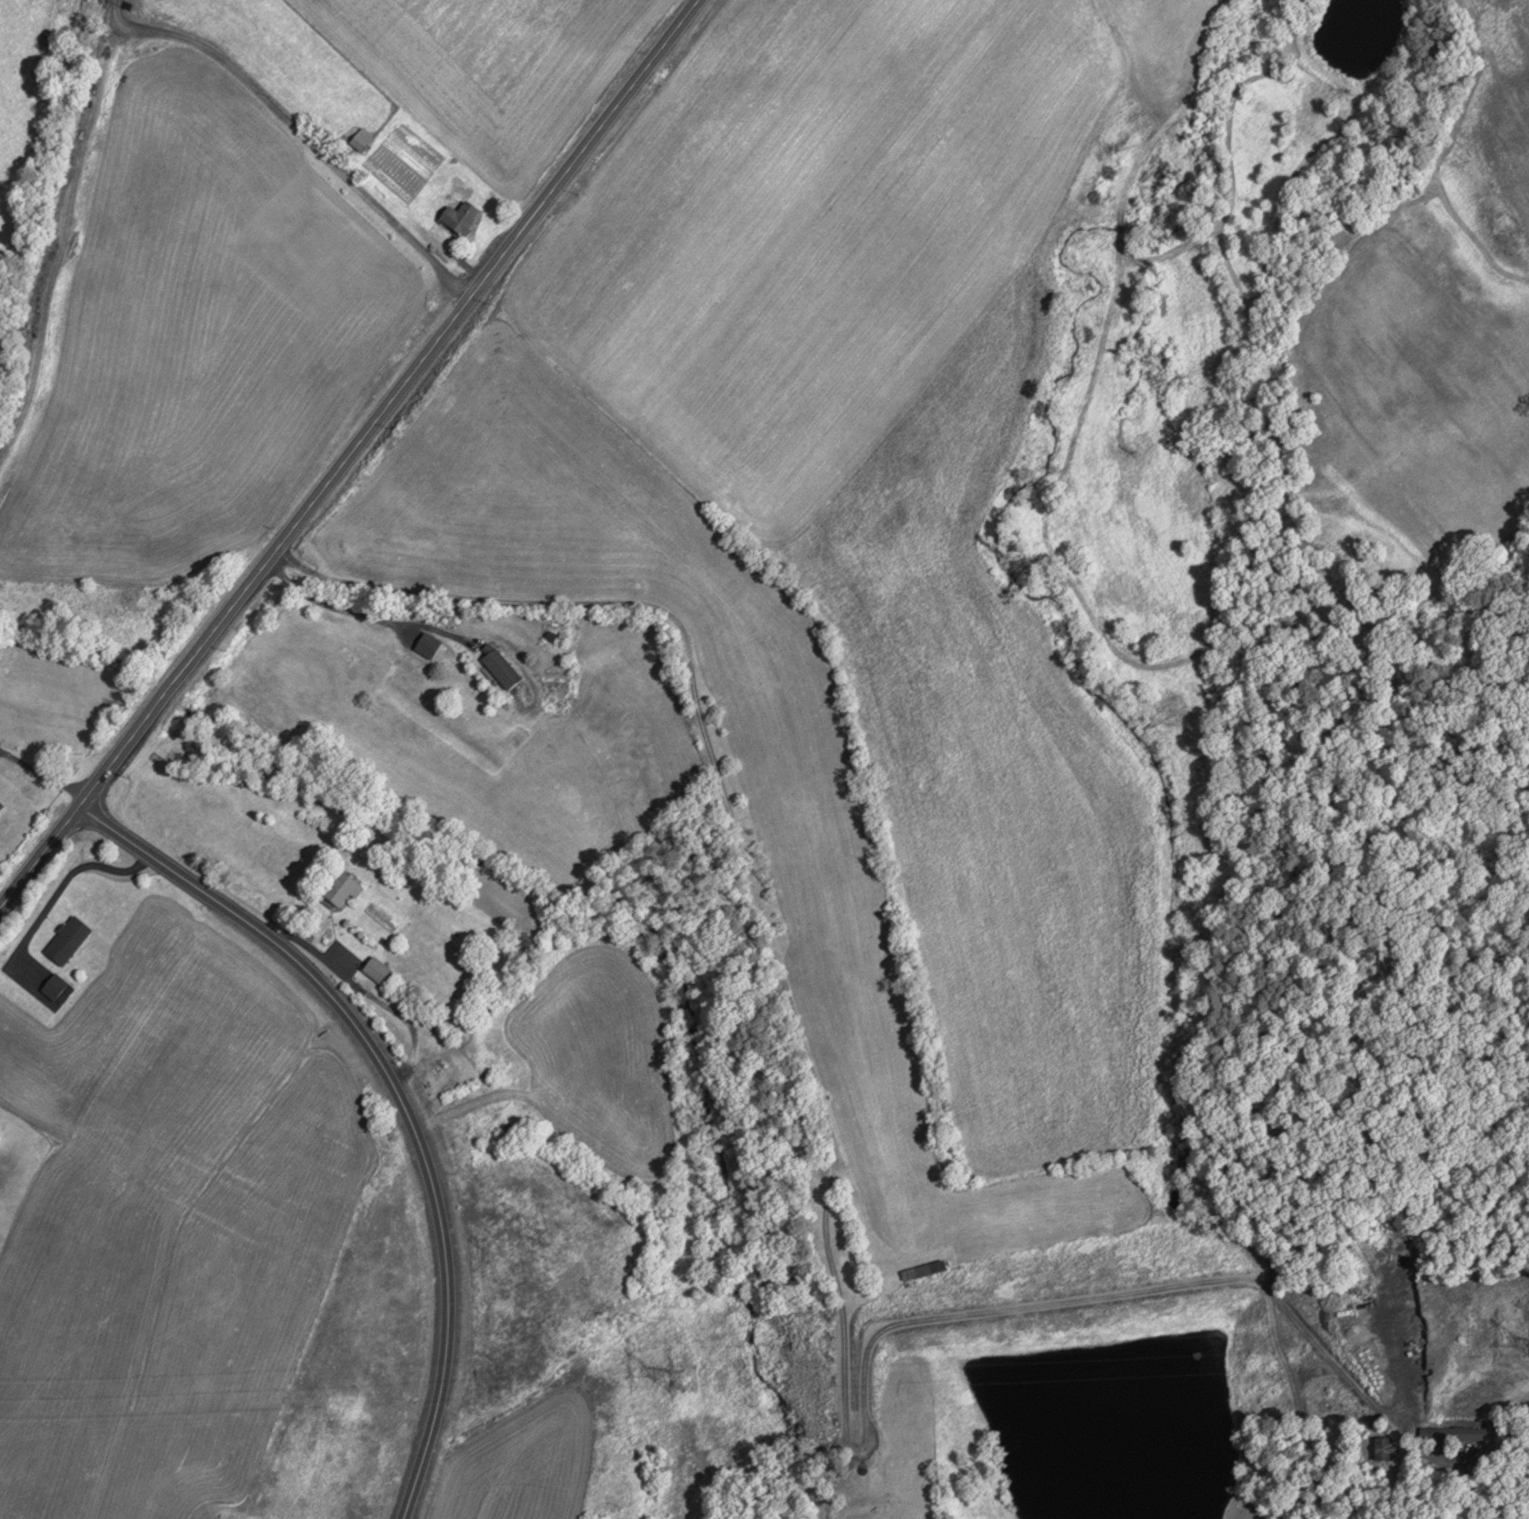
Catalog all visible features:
road: (295, 127)
building: (360, 138)
building: (460, 216)
building: (1340, 237)
road: (346, 450)
building: (0, 804)
building: (341, 888)
building: (67, 938)
building: (376, 968)
building: (53, 985)
road: (397, 1093)
road: (831, 1172)
dam: (1045, 1296)
power tower: (1528, 1343)
power tower: (675, 1376)
building: (1455, 1433)

